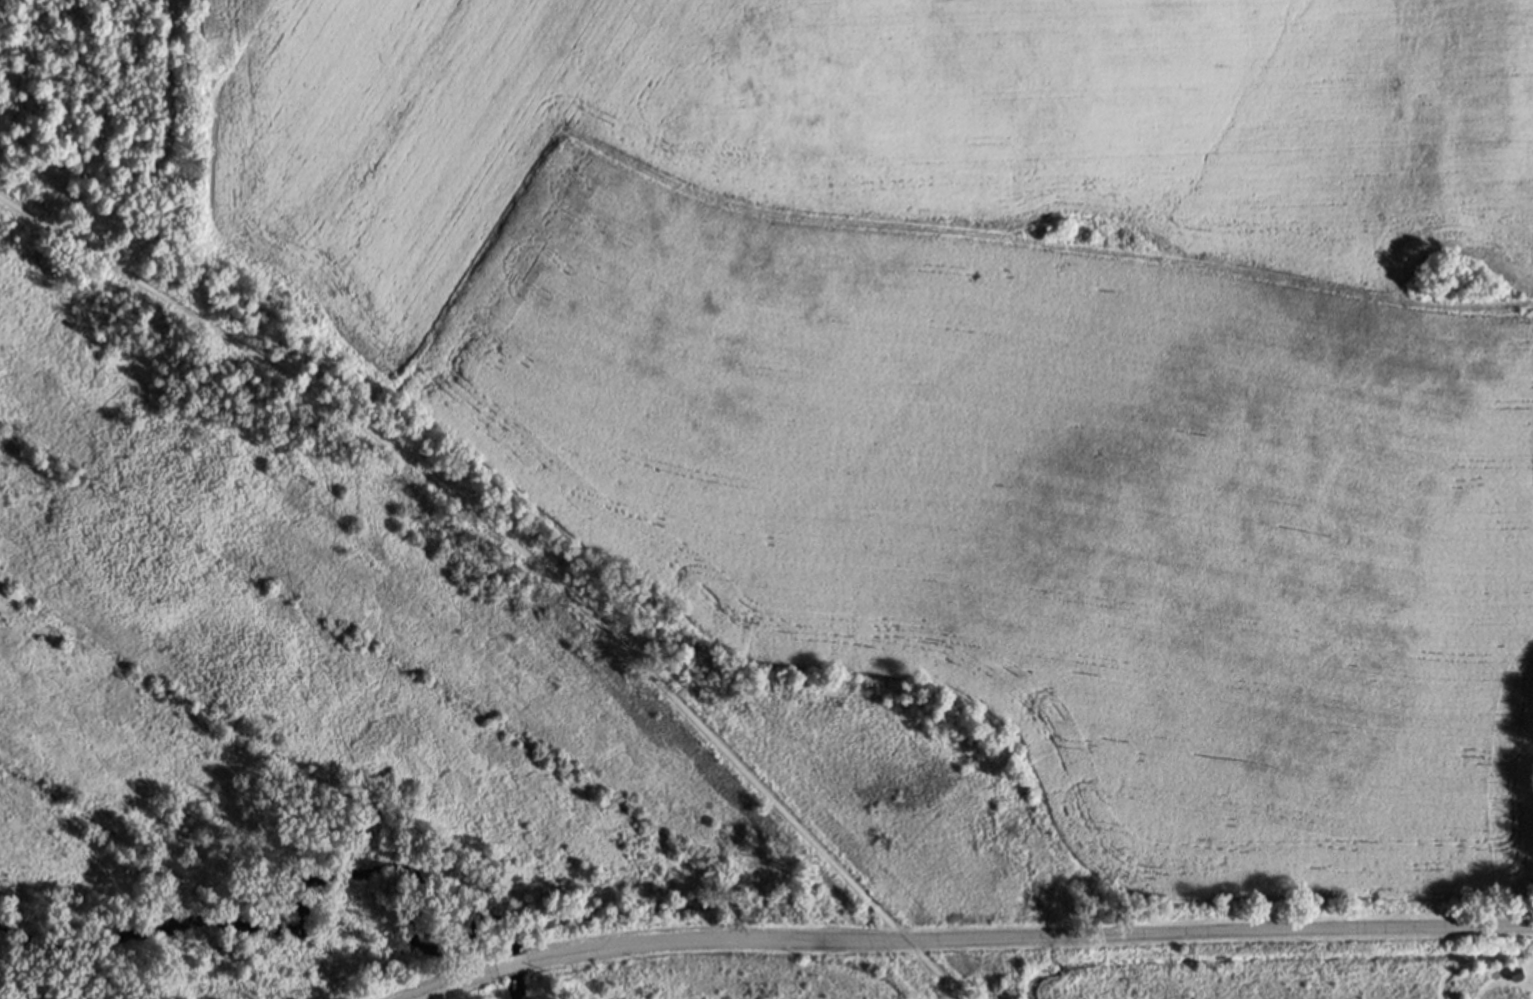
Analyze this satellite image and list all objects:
road: (518, 554)
road: (1028, 938)
road: (510, 966)
road: (453, 984)

